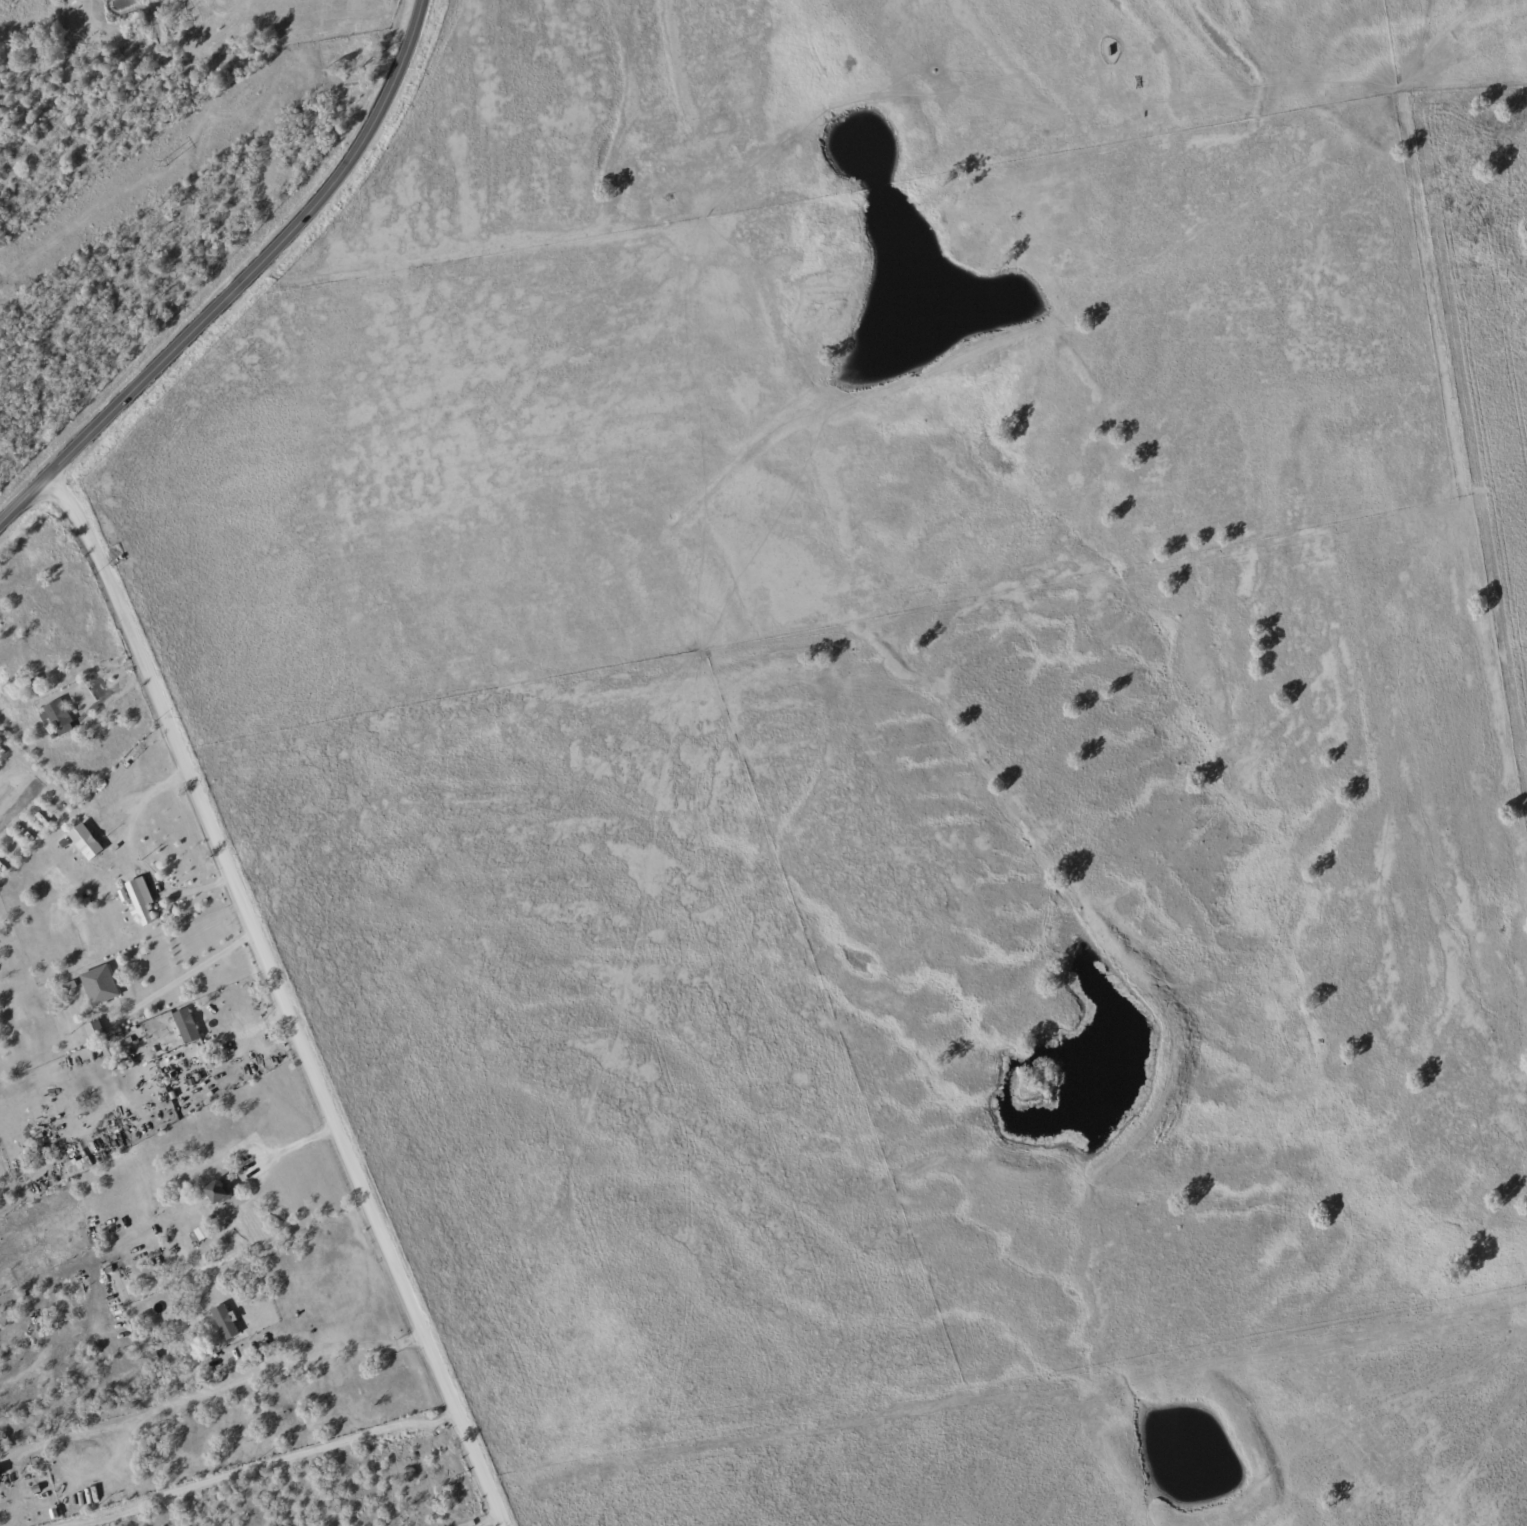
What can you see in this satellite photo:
power tower: (162, 163)
road: (434, 268)
road: (240, 281)
building: (59, 716)
road: (17, 803)
building: (85, 841)
road: (140, 856)
building: (141, 899)
road: (181, 980)
building: (99, 985)
road: (278, 998)
building: (186, 1026)
building: (93, 1031)
road: (266, 1159)
building: (79, 1165)
building: (217, 1193)
building: (202, 1233)
building: (226, 1322)
road: (211, 1391)
road: (266, 1465)
road: (494, 1524)

